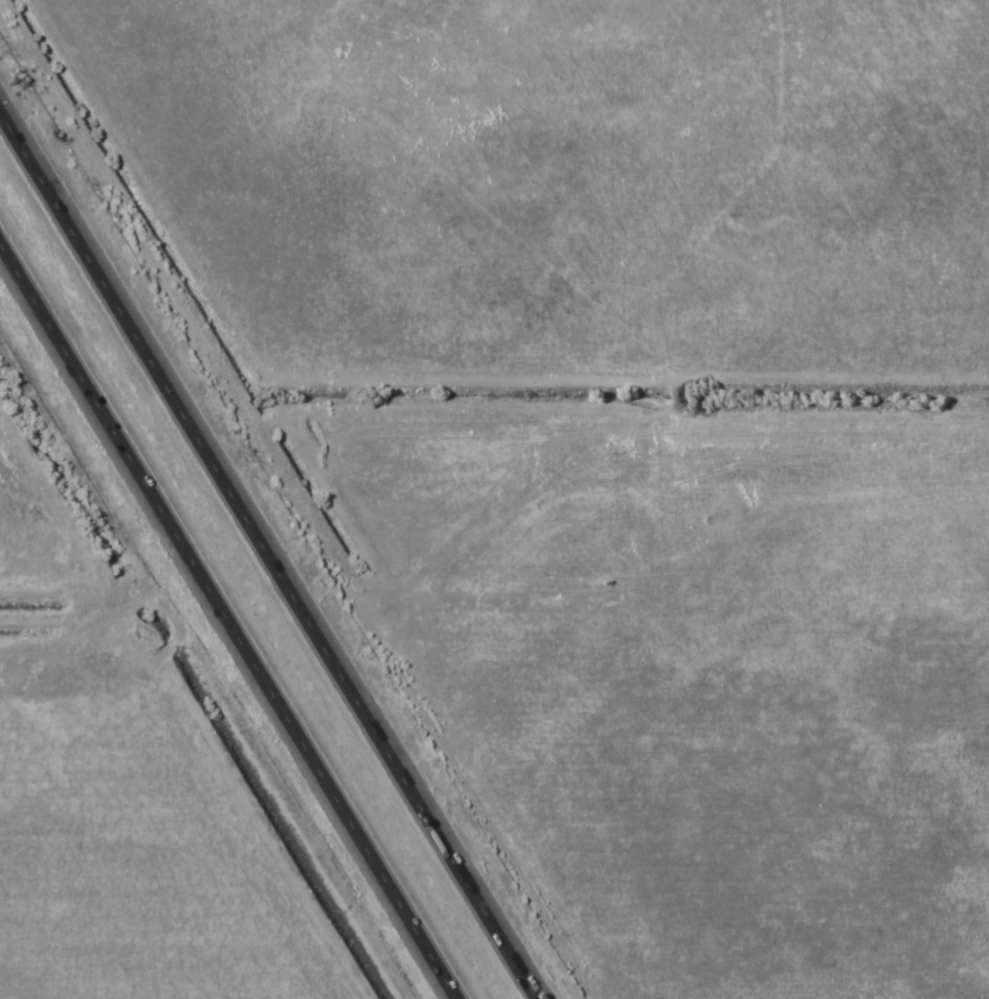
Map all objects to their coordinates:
road: (270, 552)
road: (229, 619)

